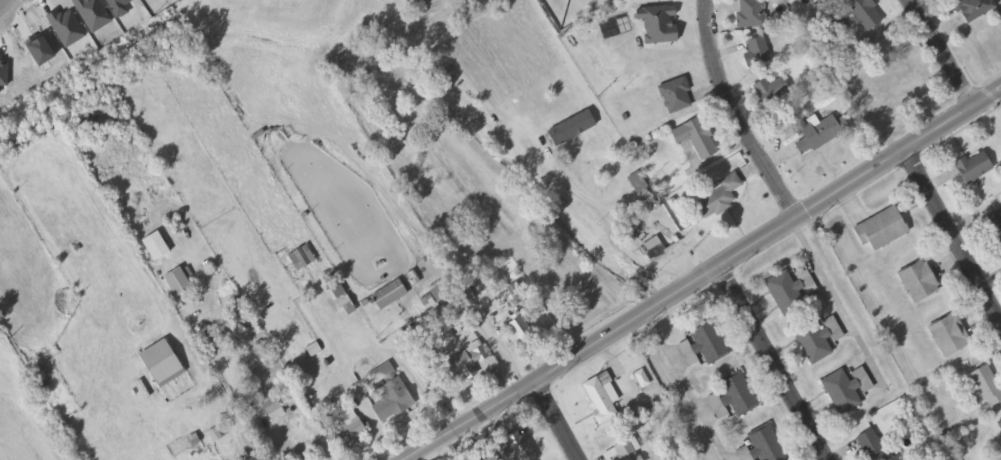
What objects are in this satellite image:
road: (4, 3)
building: (971, 9)
building: (856, 13)
building: (749, 14)
building: (754, 52)
road: (945, 55)
building: (908, 77)
building: (769, 91)
building: (673, 96)
road: (739, 116)
building: (573, 130)
building: (818, 133)
building: (693, 138)
building: (972, 168)
building: (716, 197)
building: (993, 226)
building: (879, 230)
road: (952, 239)
building: (157, 248)
building: (652, 249)
building: (302, 259)
road: (708, 275)
building: (916, 282)
building: (179, 284)
building: (788, 291)
building: (390, 296)
building: (242, 320)
building: (522, 334)
building: (948, 336)
building: (815, 340)
building: (707, 343)
building: (213, 344)
building: (471, 363)
road: (772, 364)
building: (163, 365)
building: (985, 386)
building: (839, 393)
building: (731, 397)
building: (603, 398)
building: (393, 402)
building: (273, 408)
road: (556, 423)
building: (349, 425)
building: (999, 426)
building: (628, 452)

